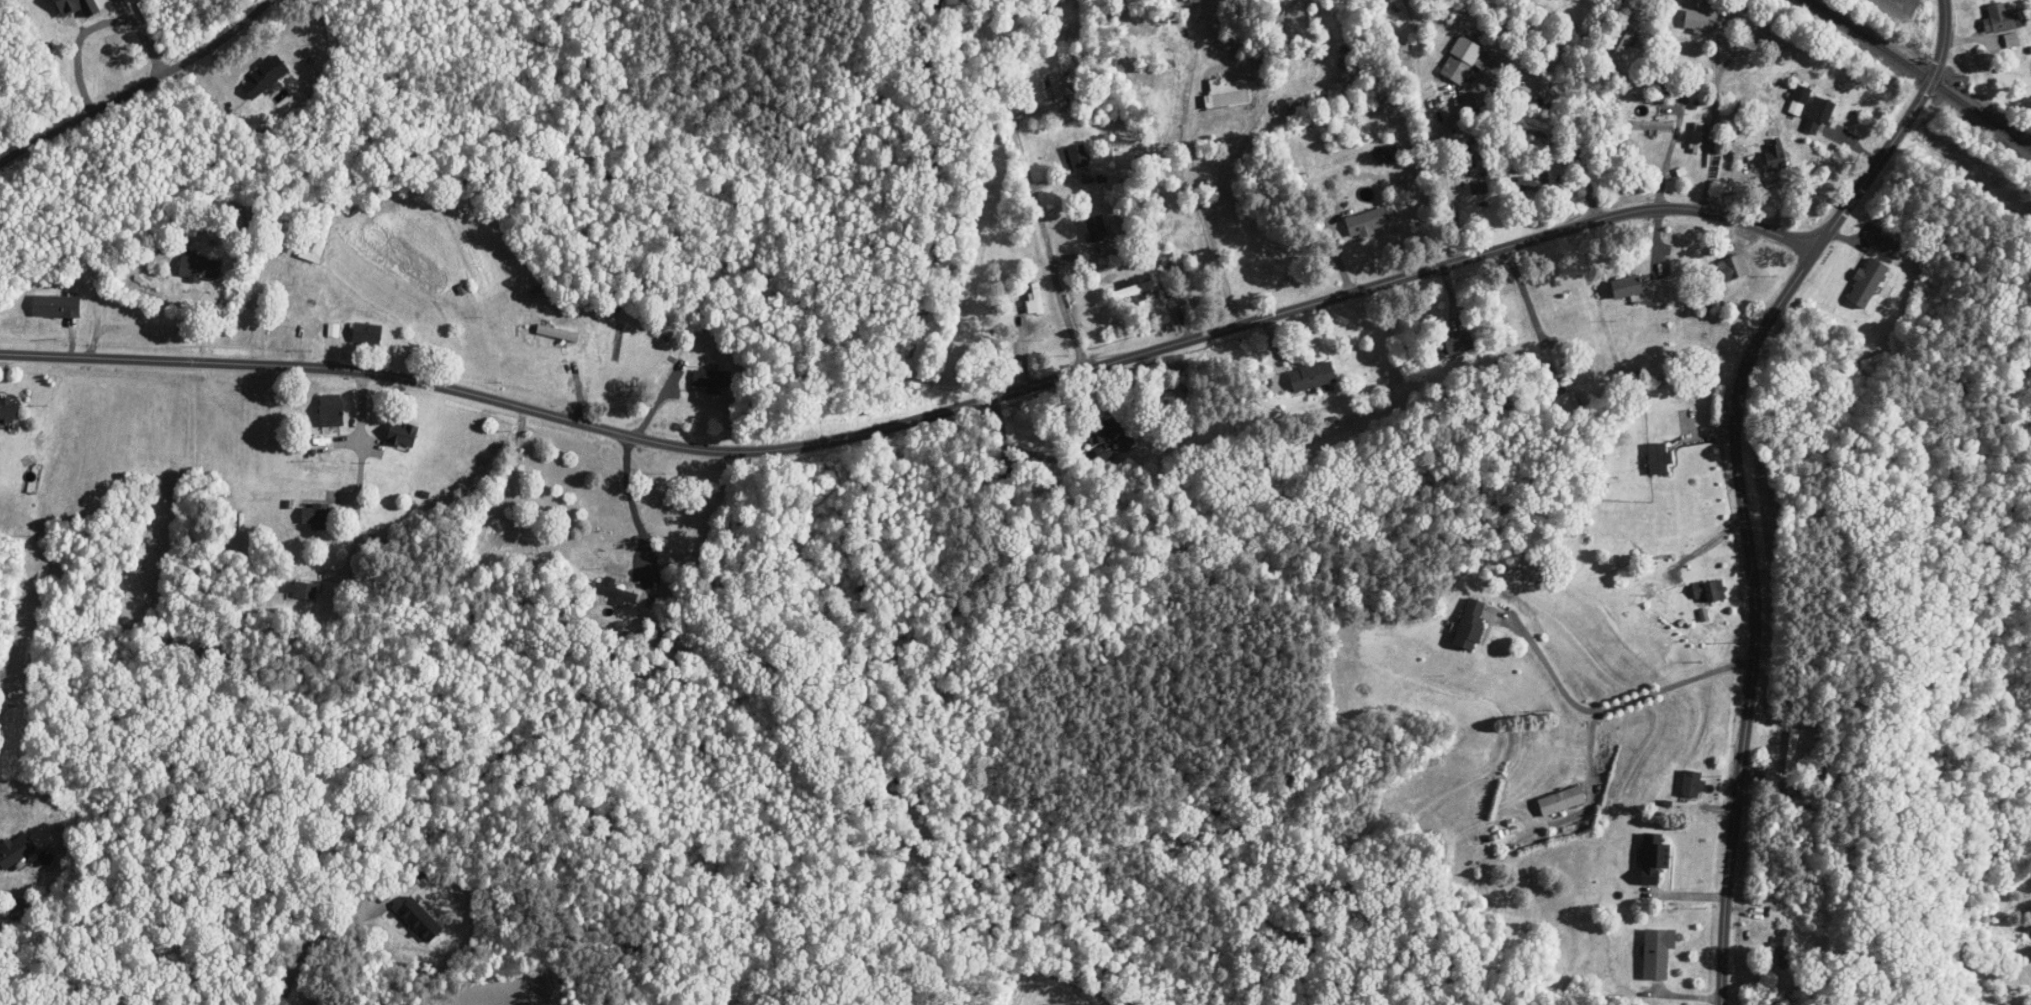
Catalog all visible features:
building: (1700, 18)
building: (1998, 18)
road: (81, 25)
road: (1717, 54)
building: (1460, 60)
road: (1491, 73)
railway: (1922, 73)
road: (134, 81)
building: (1059, 84)
building: (1227, 94)
building: (1799, 100)
building: (1819, 110)
building: (1698, 137)
building: (1774, 155)
building: (1078, 156)
building: (1533, 183)
road: (1027, 185)
building: (1366, 223)
building: (1097, 228)
building: (1888, 246)
building: (312, 248)
building: (199, 267)
building: (1732, 268)
building: (1865, 283)
building: (1625, 287)
building: (1133, 290)
building: (1035, 298)
building: (57, 306)
road: (1532, 315)
building: (367, 334)
building: (1457, 344)
building: (1310, 376)
building: (711, 380)
building: (1566, 404)
building: (10, 409)
building: (332, 410)
road: (920, 415)
building: (404, 433)
building: (1112, 440)
building: (1658, 458)
road: (1738, 474)
road: (359, 477)
road: (631, 503)
building: (318, 516)
building: (522, 541)
building: (302, 590)
building: (617, 591)
building: (1708, 592)
building: (1469, 624)
road: (1677, 683)
road: (1572, 698)
building: (1791, 752)
building: (1692, 784)
building: (1561, 801)
building: (17, 850)
building: (1653, 858)
road: (311, 945)
building: (1783, 948)
building: (1657, 953)

